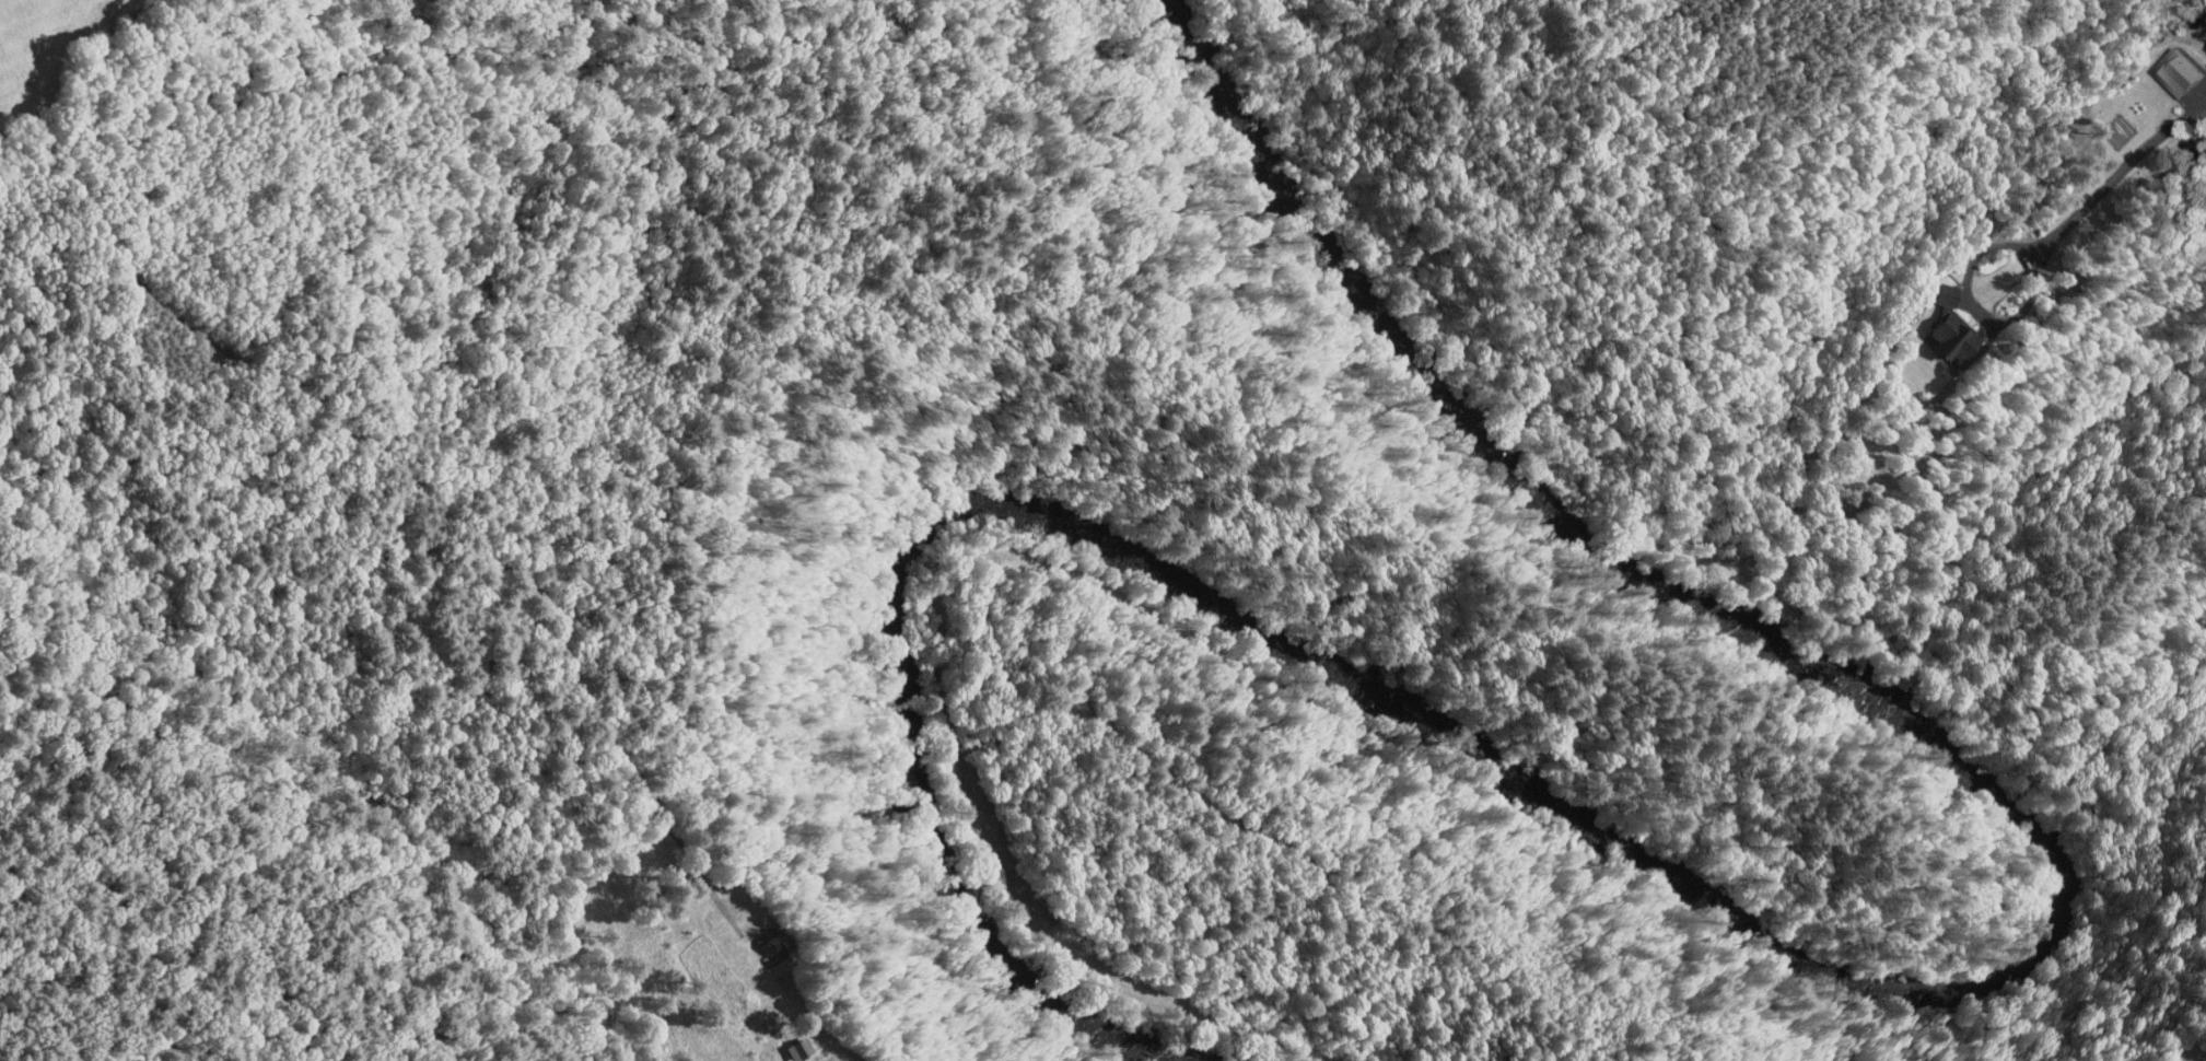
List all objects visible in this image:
river: (1188, 55)
building: (2163, 67)
road: (2115, 176)
building: (1930, 287)
building: (1936, 329)
road: (389, 475)
river: (1563, 500)
river: (1342, 665)
building: (784, 1040)

